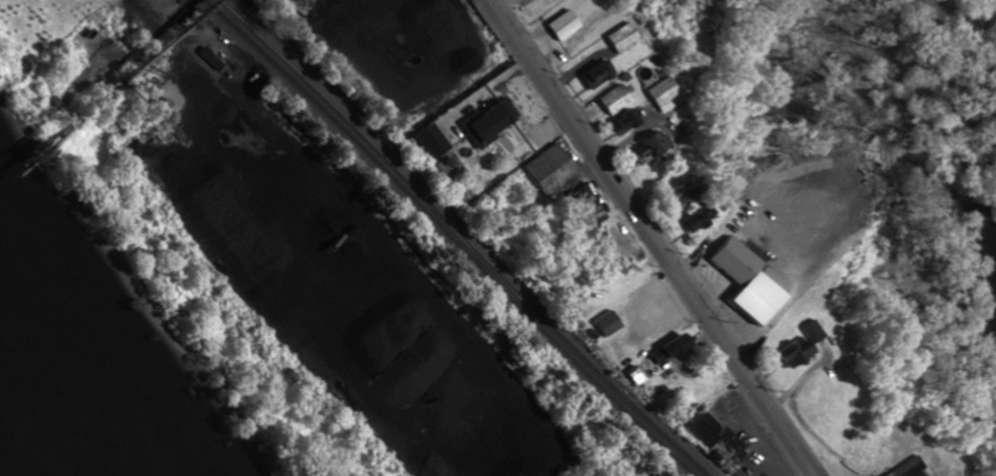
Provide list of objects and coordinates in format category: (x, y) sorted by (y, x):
building: (565, 23)
building: (623, 37)
building: (600, 74)
building: (665, 93)
building: (615, 99)
building: (496, 120)
building: (626, 122)
building: (649, 149)
building: (566, 182)
building: (685, 194)
building: (700, 216)
railway: (452, 236)
railway: (466, 237)
road: (659, 238)
building: (738, 260)
building: (799, 349)
building: (721, 443)

